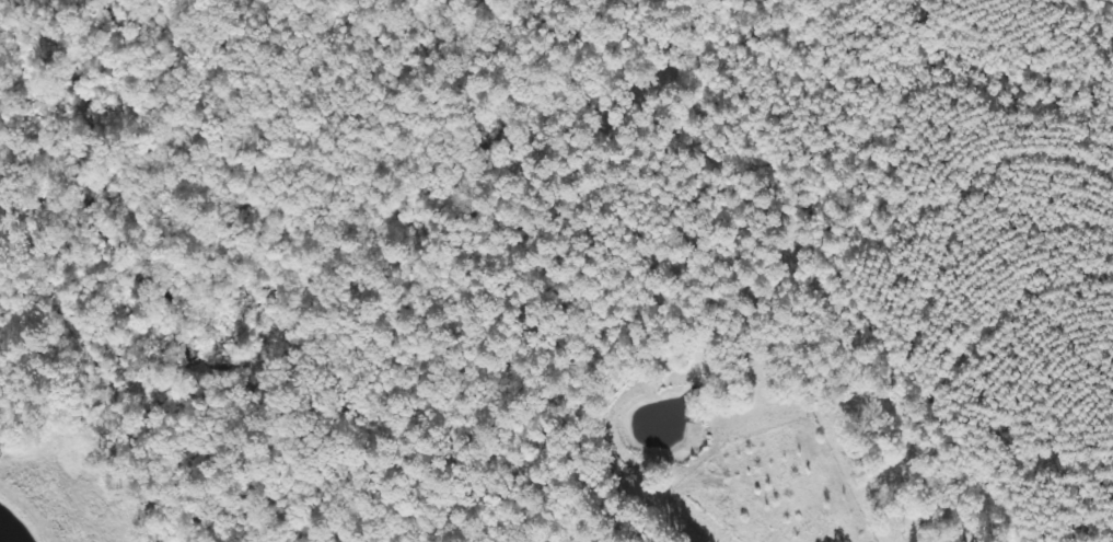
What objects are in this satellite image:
road: (920, 450)
road: (1094, 514)

